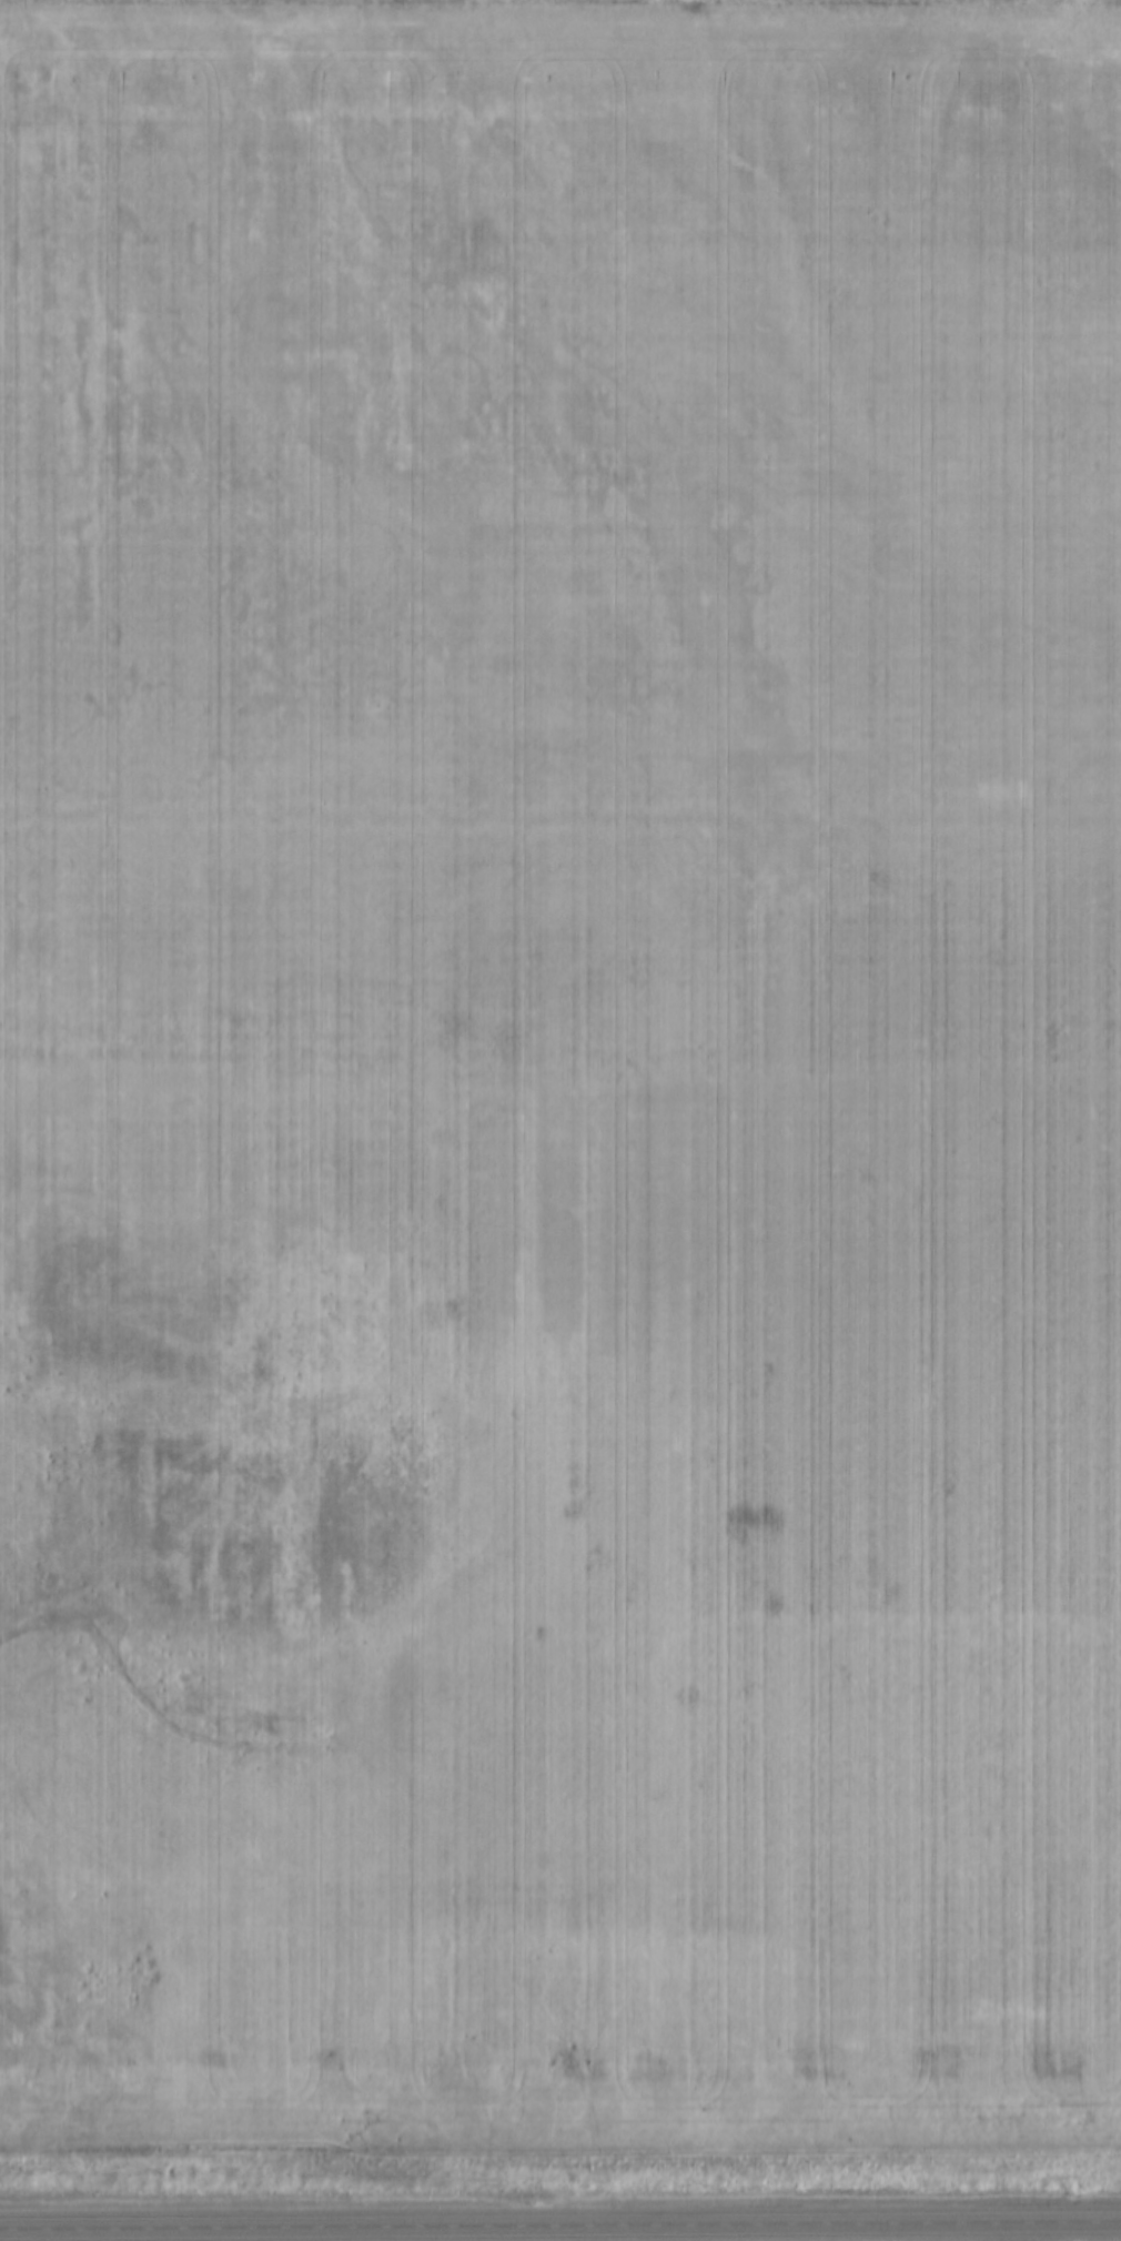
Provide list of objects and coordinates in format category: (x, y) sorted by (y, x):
road: (560, 2230)

